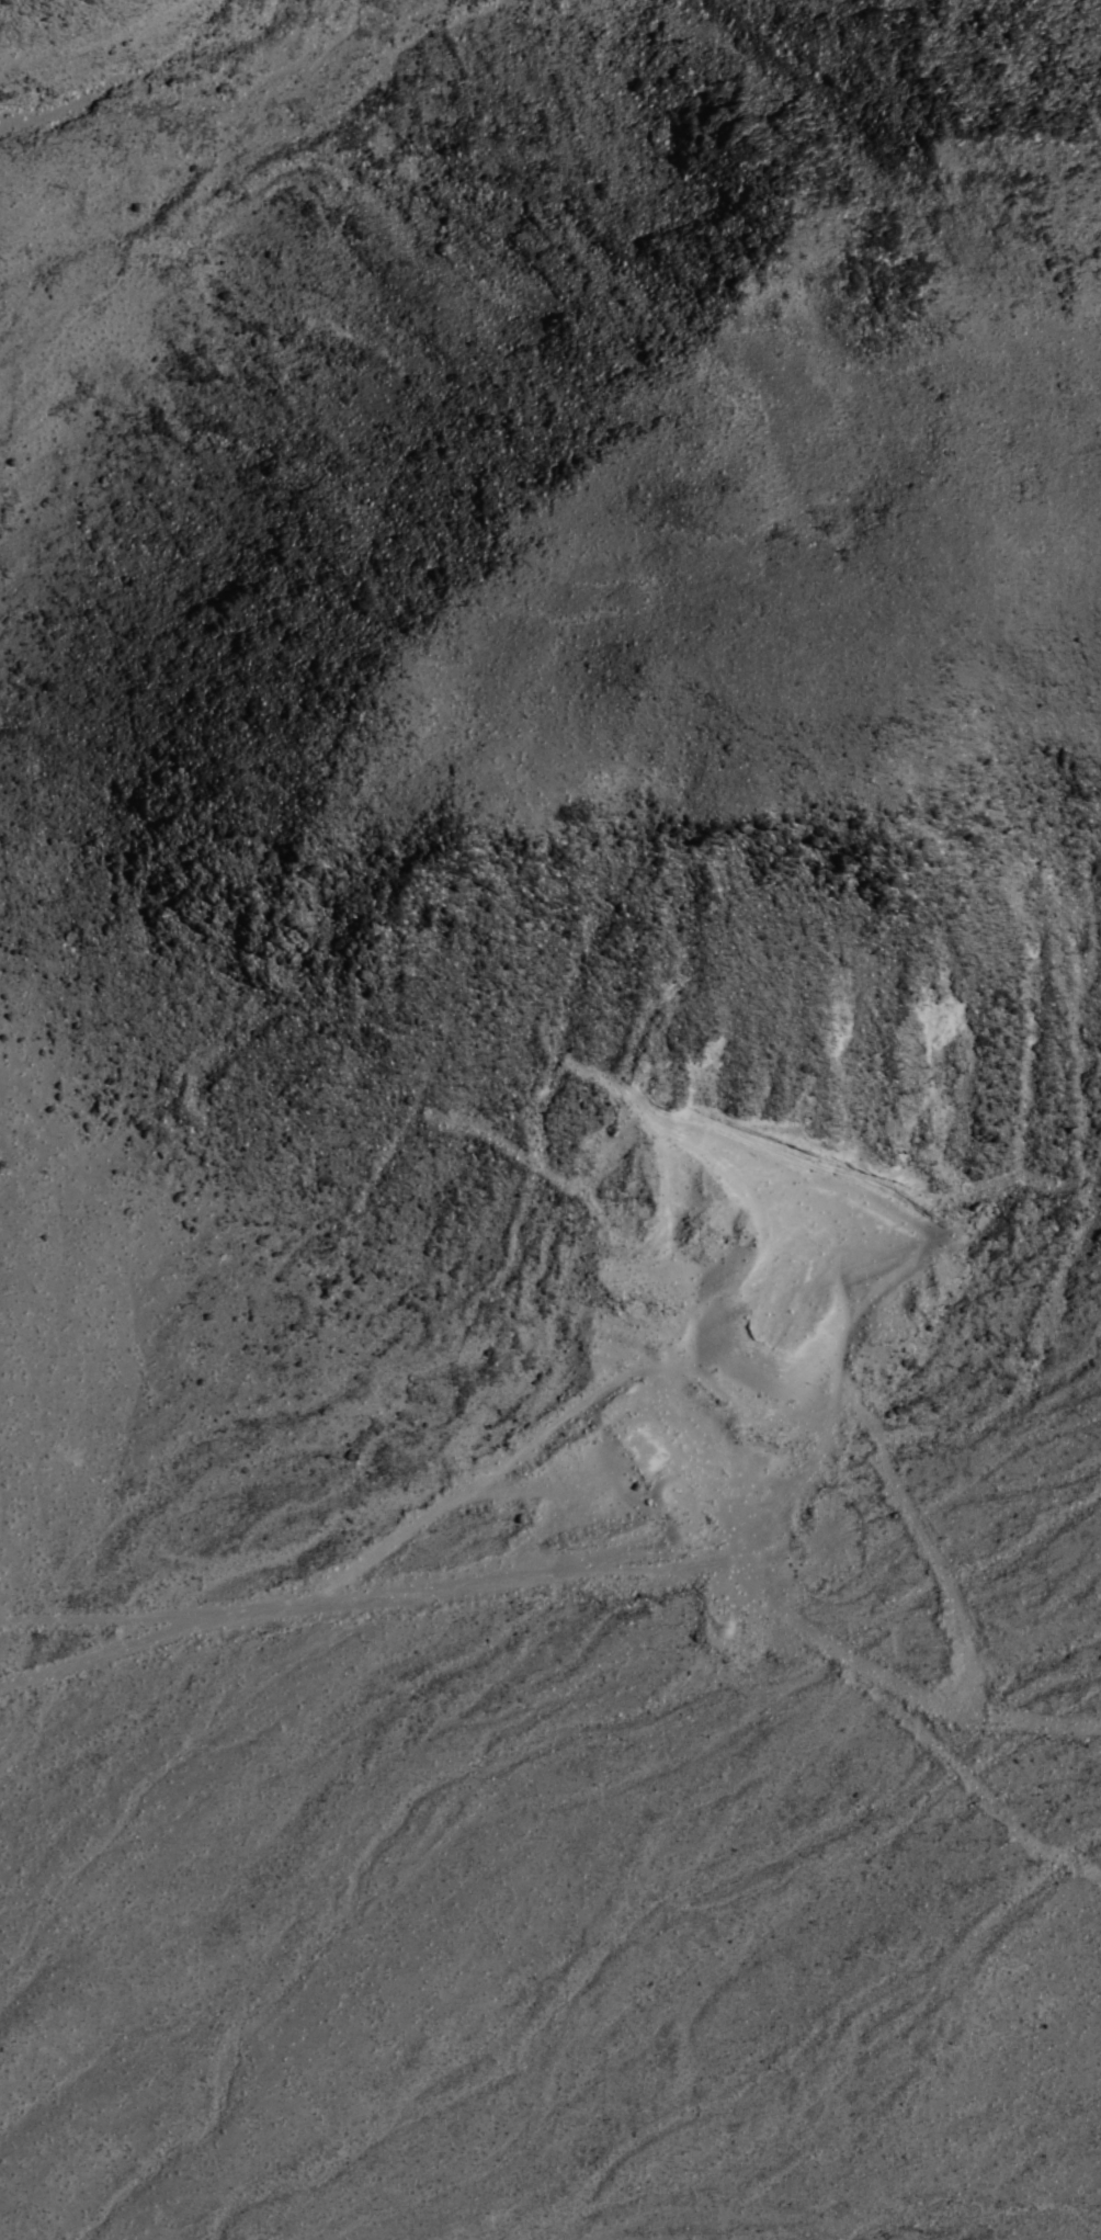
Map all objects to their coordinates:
road: (552, 1575)
road: (130, 1616)
road: (903, 1689)
road: (992, 1796)

